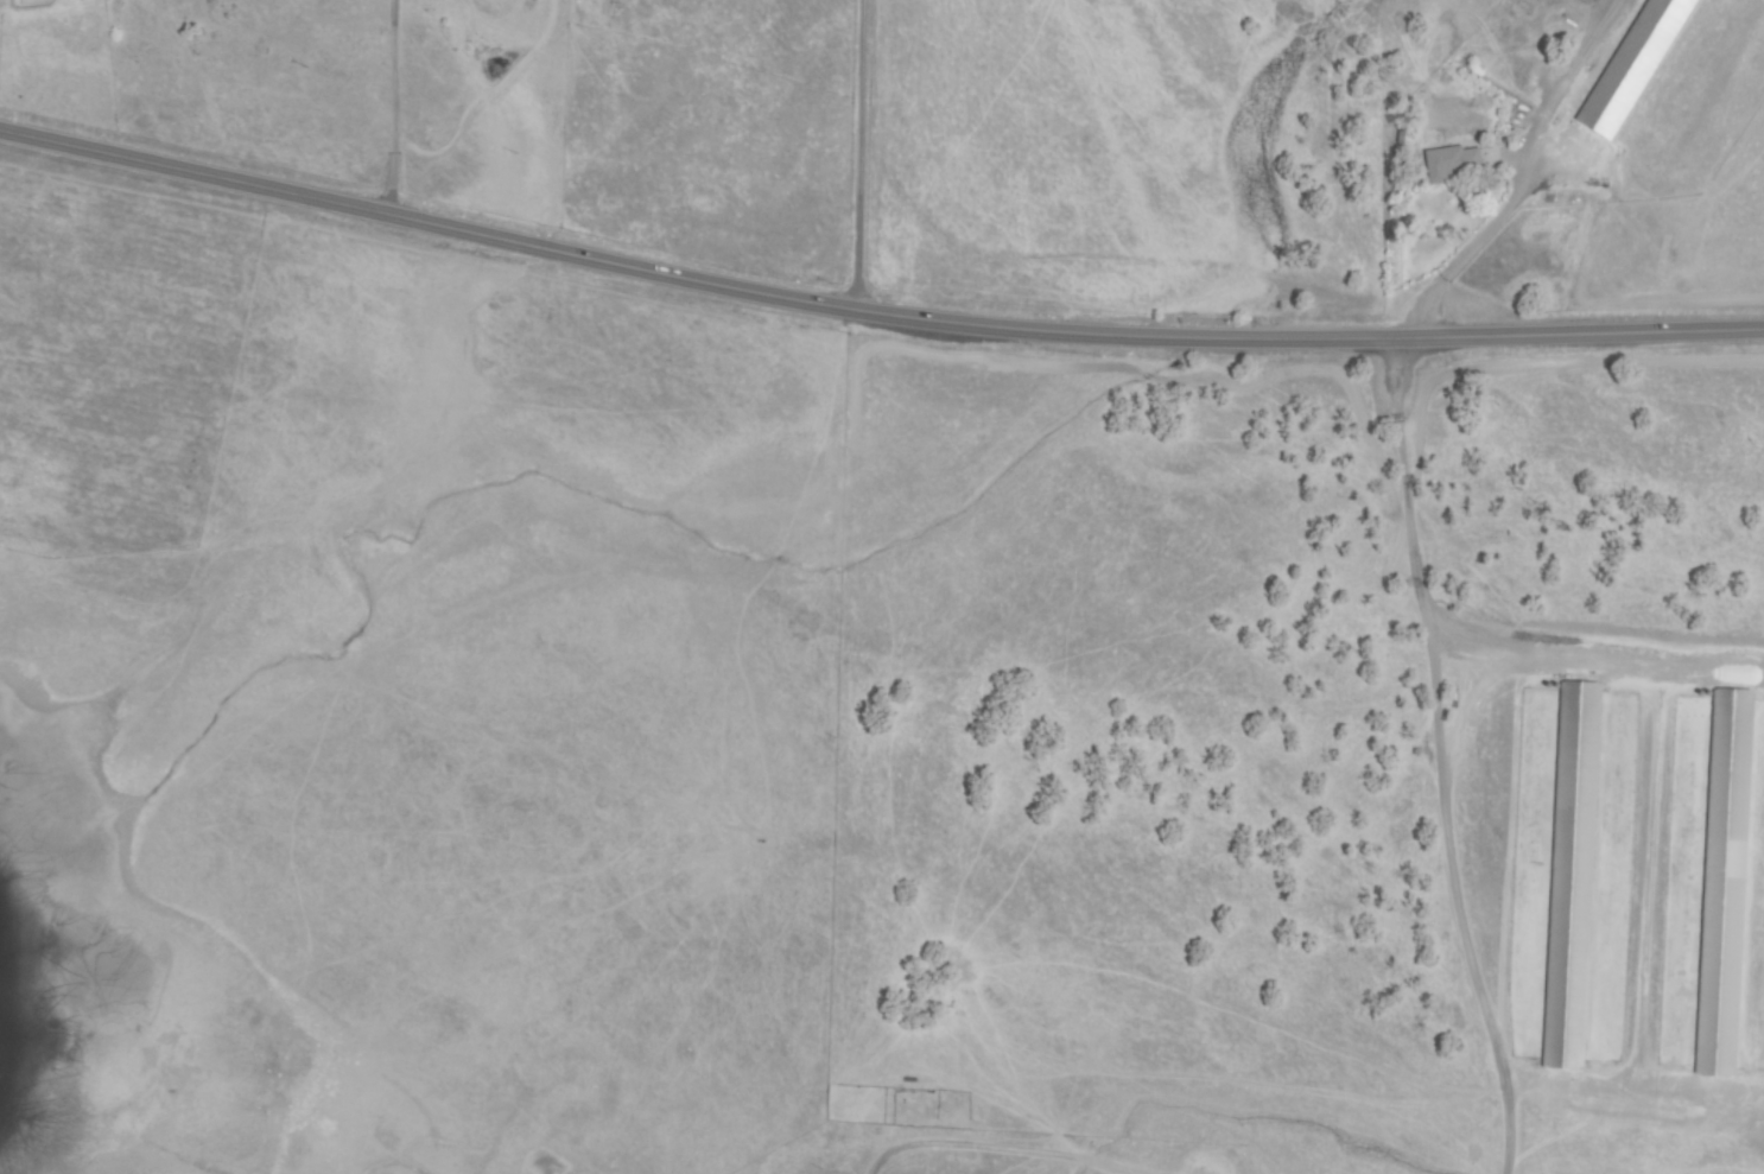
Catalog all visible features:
building: (1588, 1)
building: (1598, 1)
building: (1633, 64)
road: (402, 108)
road: (867, 156)
building: (1452, 164)
road: (873, 311)
building: (1572, 875)
building: (1725, 884)

